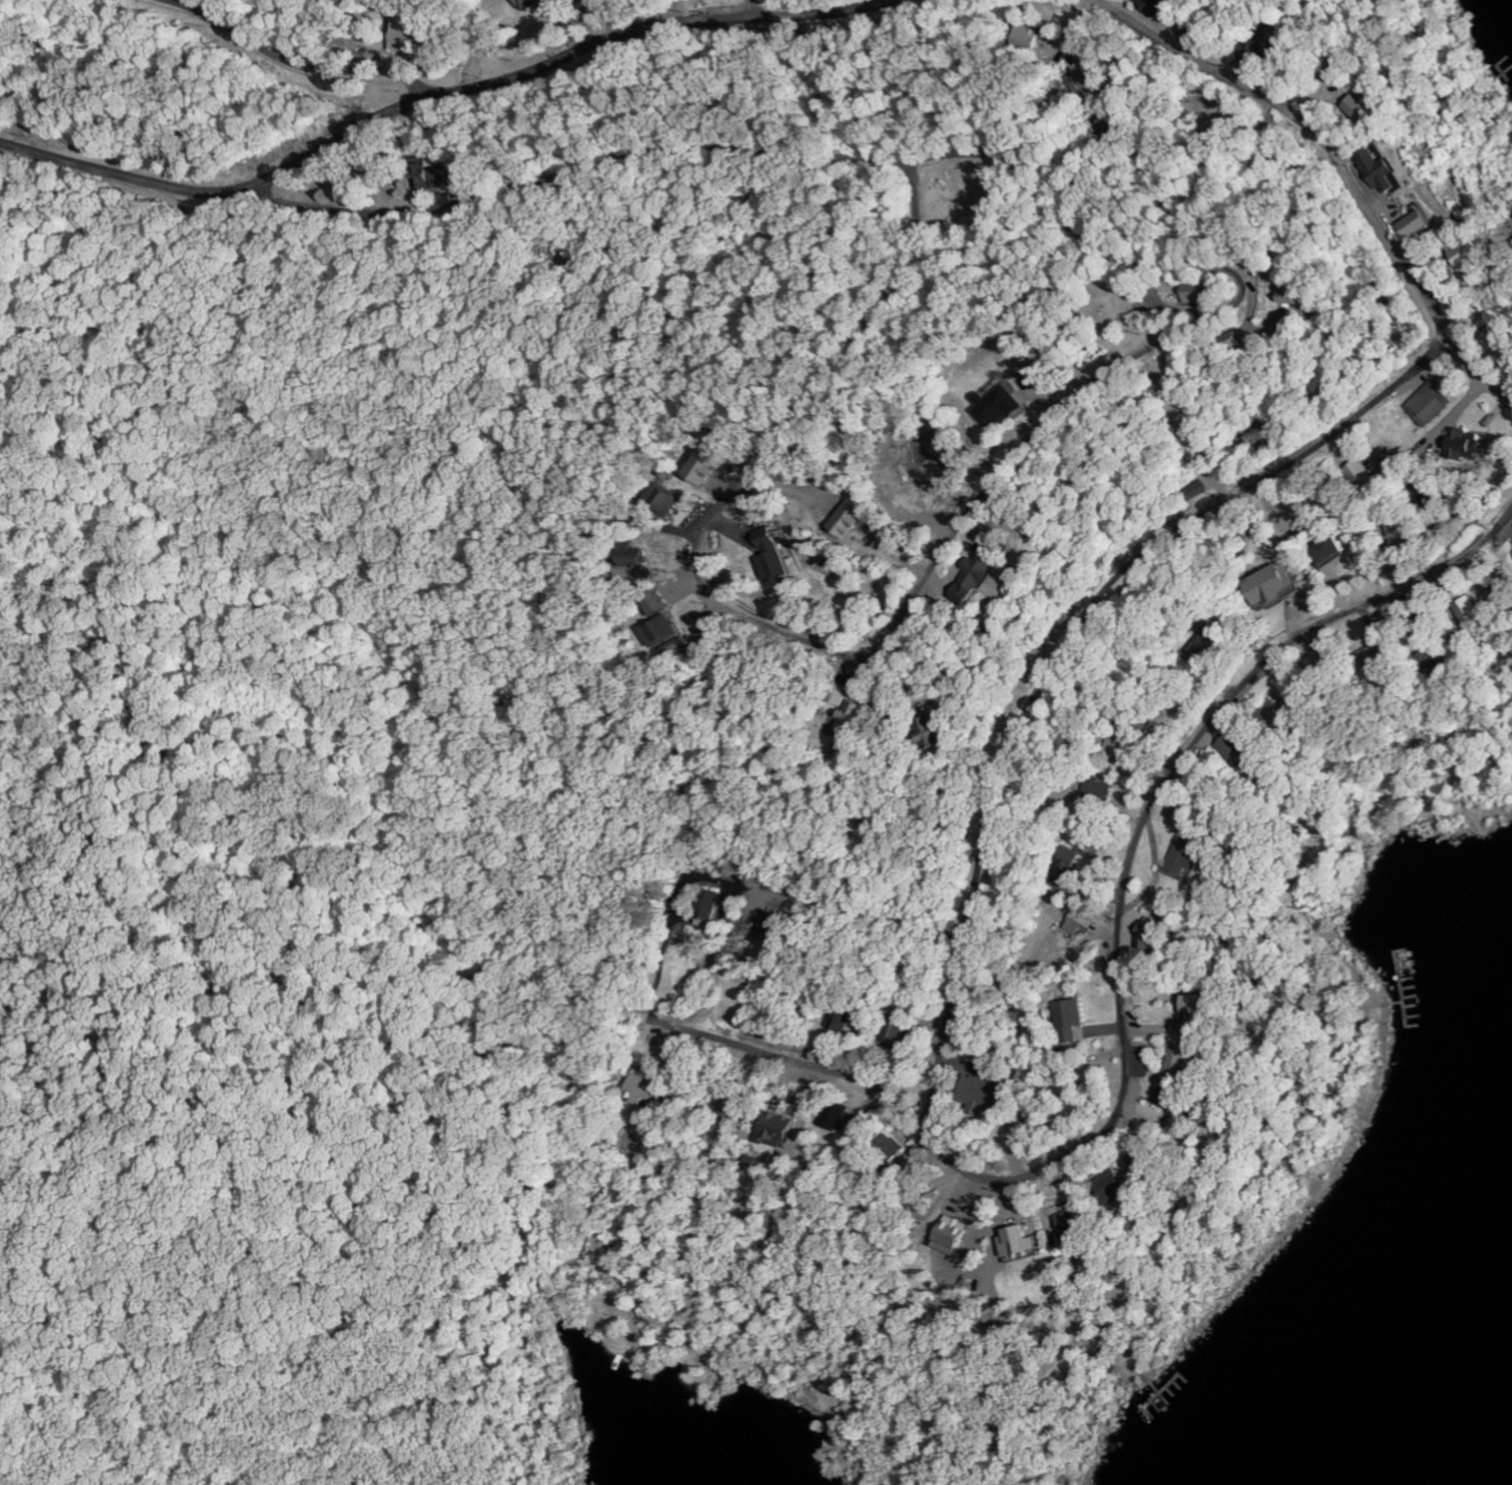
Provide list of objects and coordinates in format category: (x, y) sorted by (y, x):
building: (532, 3)
road: (1022, 4)
building: (1154, 6)
road: (959, 14)
building: (400, 37)
building: (1031, 37)
building: (1259, 53)
building: (1365, 106)
building: (1381, 170)
building: (430, 178)
road: (919, 178)
building: (1414, 224)
building: (1466, 256)
building: (1294, 292)
building: (1195, 295)
building: (1496, 341)
road: (1484, 368)
building: (998, 403)
building: (1426, 404)
building: (1464, 443)
building: (701, 468)
road: (760, 476)
building: (1192, 490)
building: (662, 498)
building: (846, 517)
building: (1323, 551)
building: (628, 553)
building: (767, 557)
building: (969, 577)
building: (1266, 582)
building: (648, 603)
building: (1467, 610)
building: (657, 634)
building: (1201, 644)
road: (1076, 650)
building: (1369, 660)
building: (834, 693)
building: (1272, 715)
building: (842, 717)
building: (926, 732)
building: (1231, 747)
building: (1179, 854)
building: (1064, 863)
building: (702, 908)
road: (854, 913)
building: (1076, 923)
road: (1151, 1000)
building: (1190, 1004)
park: (296, 1018)
building: (1069, 1019)
building: (893, 1030)
building: (1178, 1062)
building: (638, 1083)
building: (976, 1091)
building: (1162, 1097)
building: (830, 1117)
building: (771, 1130)
building: (883, 1148)
building: (746, 1162)
building: (1109, 1188)
building: (1068, 1217)
building: (947, 1235)
building: (1013, 1241)

